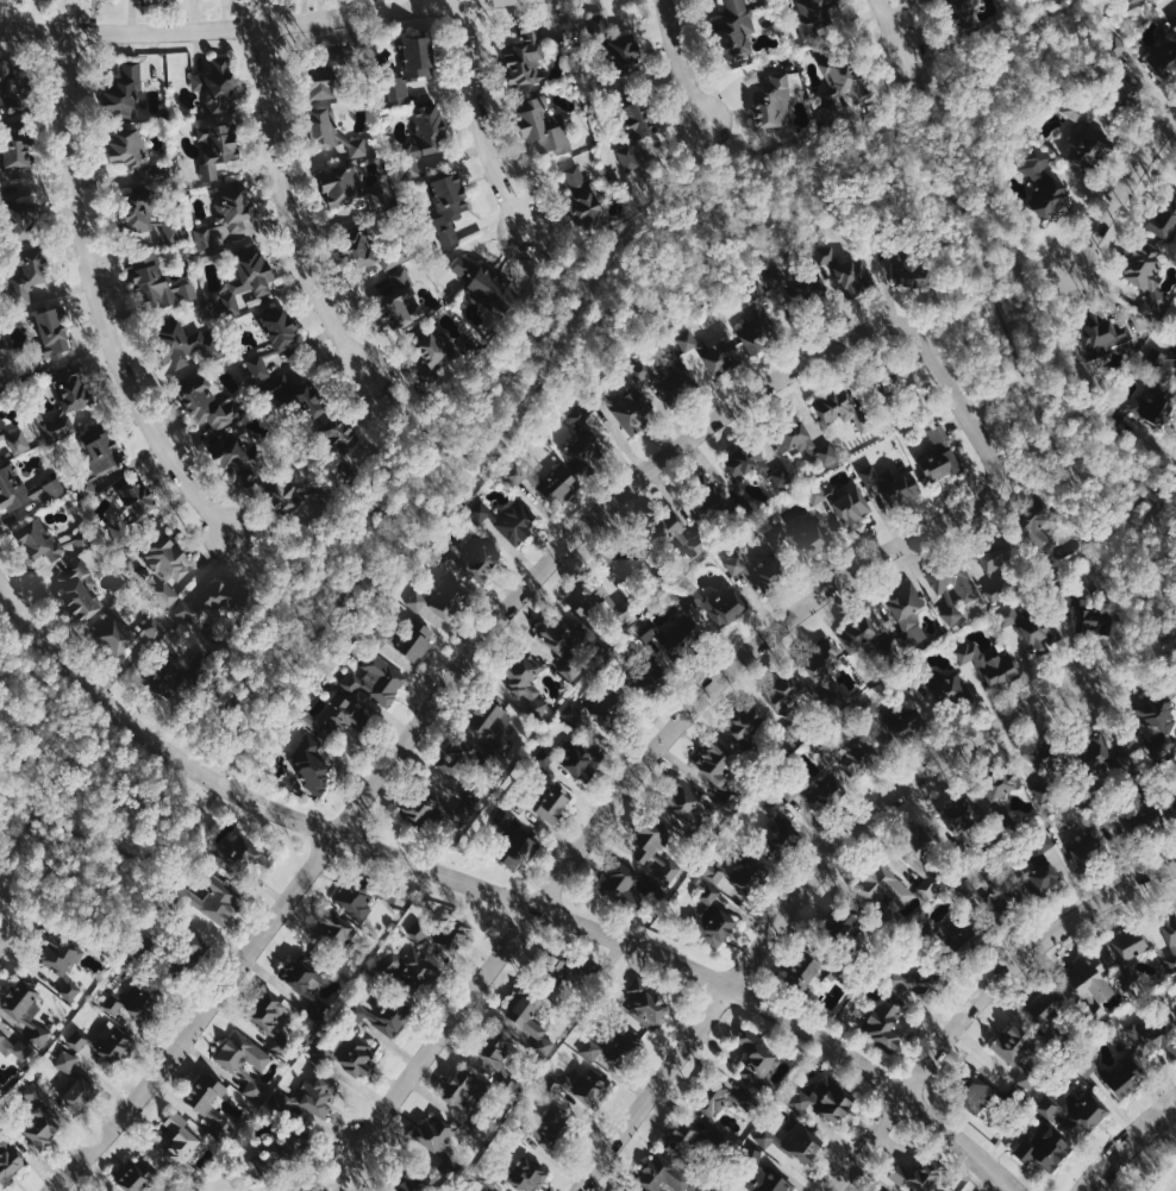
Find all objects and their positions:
building: (1125, 2)
building: (961, 13)
building: (811, 17)
road: (246, 27)
road: (892, 27)
building: (731, 32)
building: (617, 44)
building: (1162, 55)
building: (524, 57)
road: (678, 61)
building: (412, 62)
building: (321, 75)
building: (1116, 83)
building: (217, 84)
building: (14, 87)
building: (124, 87)
building: (840, 88)
building: (771, 99)
road: (477, 119)
building: (540, 120)
building: (633, 123)
building: (331, 130)
building: (427, 142)
building: (1088, 142)
building: (18, 146)
building: (217, 148)
building: (135, 153)
building: (1043, 180)
building: (349, 187)
road: (1125, 187)
building: (586, 200)
building: (449, 202)
road: (287, 205)
building: (140, 213)
building: (1163, 215)
building: (19, 217)
building: (221, 217)
building: (354, 244)
building: (908, 263)
road: (563, 270)
building: (849, 270)
building: (27, 274)
building: (244, 274)
road: (1034, 274)
building: (1145, 277)
building: (157, 282)
building: (483, 282)
building: (797, 288)
building: (399, 299)
road: (99, 300)
building: (757, 321)
building: (1100, 334)
building: (48, 337)
building: (179, 337)
building: (268, 338)
building: (711, 351)
building: (432, 353)
building: (1157, 357)
building: (0, 363)
building: (1166, 364)
building: (643, 372)
building: (887, 381)
building: (68, 399)
building: (295, 399)
road: (995, 399)
building: (206, 403)
building: (625, 405)
building: (1143, 406)
road: (509, 407)
building: (840, 412)
road: (409, 416)
road: (1038, 421)
building: (15, 438)
building: (797, 439)
building: (339, 444)
building: (581, 444)
building: (95, 453)
building: (238, 456)
building: (942, 458)
building: (753, 464)
building: (545, 479)
building: (890, 483)
building: (25, 487)
road: (1145, 491)
building: (292, 496)
building: (712, 502)
building: (842, 502)
building: (129, 507)
building: (503, 514)
building: (671, 526)
building: (1036, 527)
building: (42, 537)
building: (800, 538)
building: (473, 558)
building: (163, 562)
building: (996, 564)
building: (619, 566)
building: (757, 571)
road: (275, 577)
building: (955, 581)
building: (80, 590)
building: (436, 596)
building: (587, 597)
building: (217, 600)
building: (713, 603)
building: (1083, 612)
building: (907, 614)
building: (1033, 626)
road: (492, 628)
building: (124, 633)
building: (669, 634)
building: (404, 635)
building: (864, 640)
building: (564, 642)
road: (1127, 654)
building: (990, 662)
building: (173, 670)
building: (825, 671)
building: (376, 676)
building: (642, 678)
building: (525, 681)
building: (939, 684)
building: (784, 696)
building: (598, 709)
building: (1153, 714)
building: (337, 716)
building: (895, 720)
building: (492, 725)
building: (745, 726)
building: (846, 750)
building: (570, 757)
building: (1100, 759)
building: (468, 764)
building: (719, 765)
building: (309, 767)
building: (1049, 769)
road: (636, 773)
building: (812, 790)
building: (1002, 794)
building: (543, 800)
building: (682, 803)
building: (770, 803)
building: (433, 807)
building: (1171, 809)
building: (961, 814)
building: (1137, 816)
building: (780, 830)
road: (18, 834)
building: (1089, 836)
building: (506, 845)
building: (655, 847)
building: (237, 854)
building: (922, 858)
building: (1041, 867)
building: (738, 872)
building: (628, 890)
building: (364, 892)
road: (496, 892)
building: (884, 894)
building: (997, 895)
road: (794, 897)
building: (209, 898)
road: (4, 907)
building: (709, 916)
building: (842, 927)
road: (6, 929)
building: (440, 935)
building: (333, 936)
building: (1170, 938)
building: (958, 940)
building: (174, 948)
building: (1131, 951)
building: (60, 954)
building: (561, 966)
building: (408, 971)
building: (803, 971)
building: (306, 982)
building: (915, 982)
building: (1093, 984)
building: (71, 990)
building: (135, 1001)
road: (981, 1001)
building: (648, 1004)
building: (1046, 1004)
building: (26, 1011)
building: (382, 1015)
building: (270, 1020)
building: (528, 1022)
building: (881, 1023)
building: (1147, 1028)
building: (105, 1041)
building: (15, 1047)
building: (617, 1049)
building: (1017, 1051)
building: (345, 1053)
building: (496, 1055)
building: (757, 1058)
building: (244, 1061)
building: (1113, 1073)
building: (74, 1082)
building: (578, 1086)
building: (972, 1093)
building: (723, 1096)
building: (312, 1098)
building: (471, 1098)
building: (822, 1098)
building: (208, 1102)
building: (1076, 1112)
building: (37, 1116)
building: (551, 1129)
building: (789, 1137)
building: (692, 1139)
building: (180, 1142)
building: (438, 1142)
road: (1128, 1146)
building: (281, 1148)
building: (1040, 1148)
building: (8, 1153)
building: (765, 1172)
building: (925, 1173)
building: (137, 1174)
building: (515, 1174)
building: (662, 1174)
building: (408, 1181)
building: (311, 1183)
parking lot: (1168, 1183)
building: (721, 1187)
building: (882, 1190)
building: (887, 1190)

